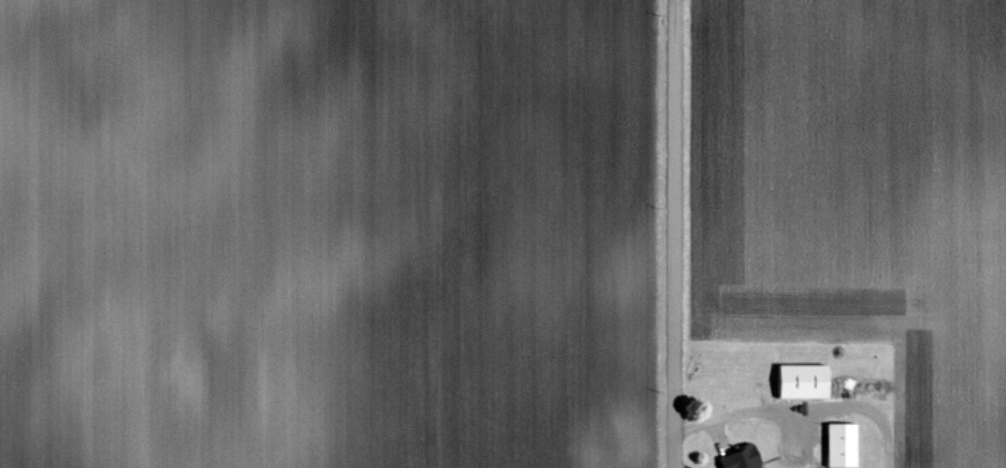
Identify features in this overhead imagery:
road: (677, 233)
building: (806, 382)
road: (804, 407)
building: (845, 446)

